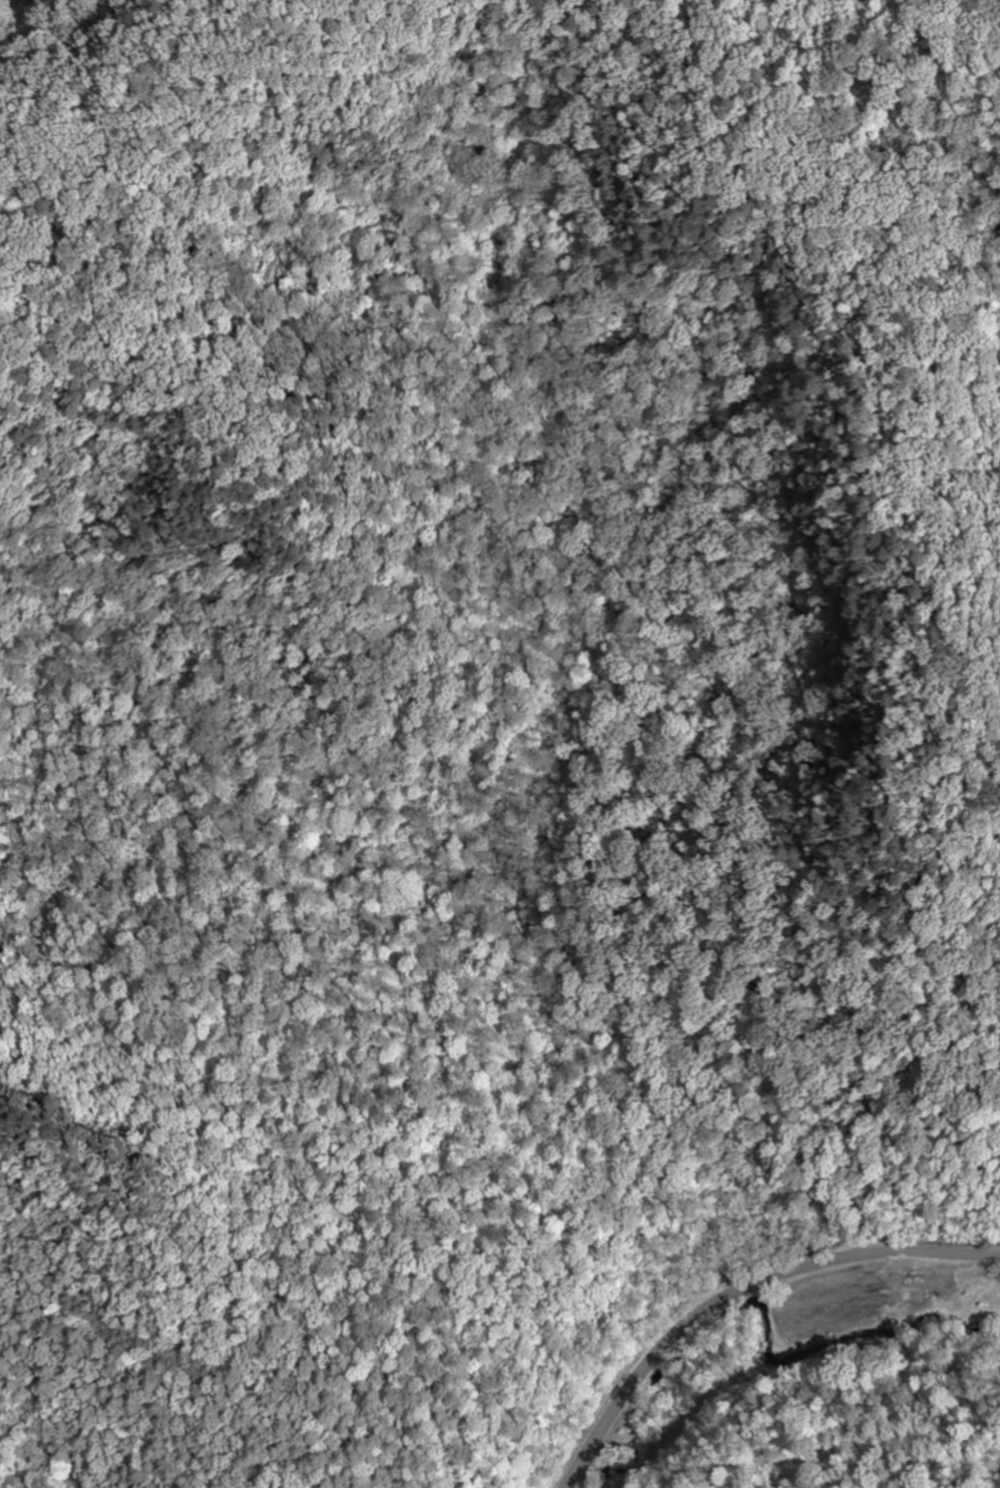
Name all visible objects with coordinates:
road: (738, 1289)

